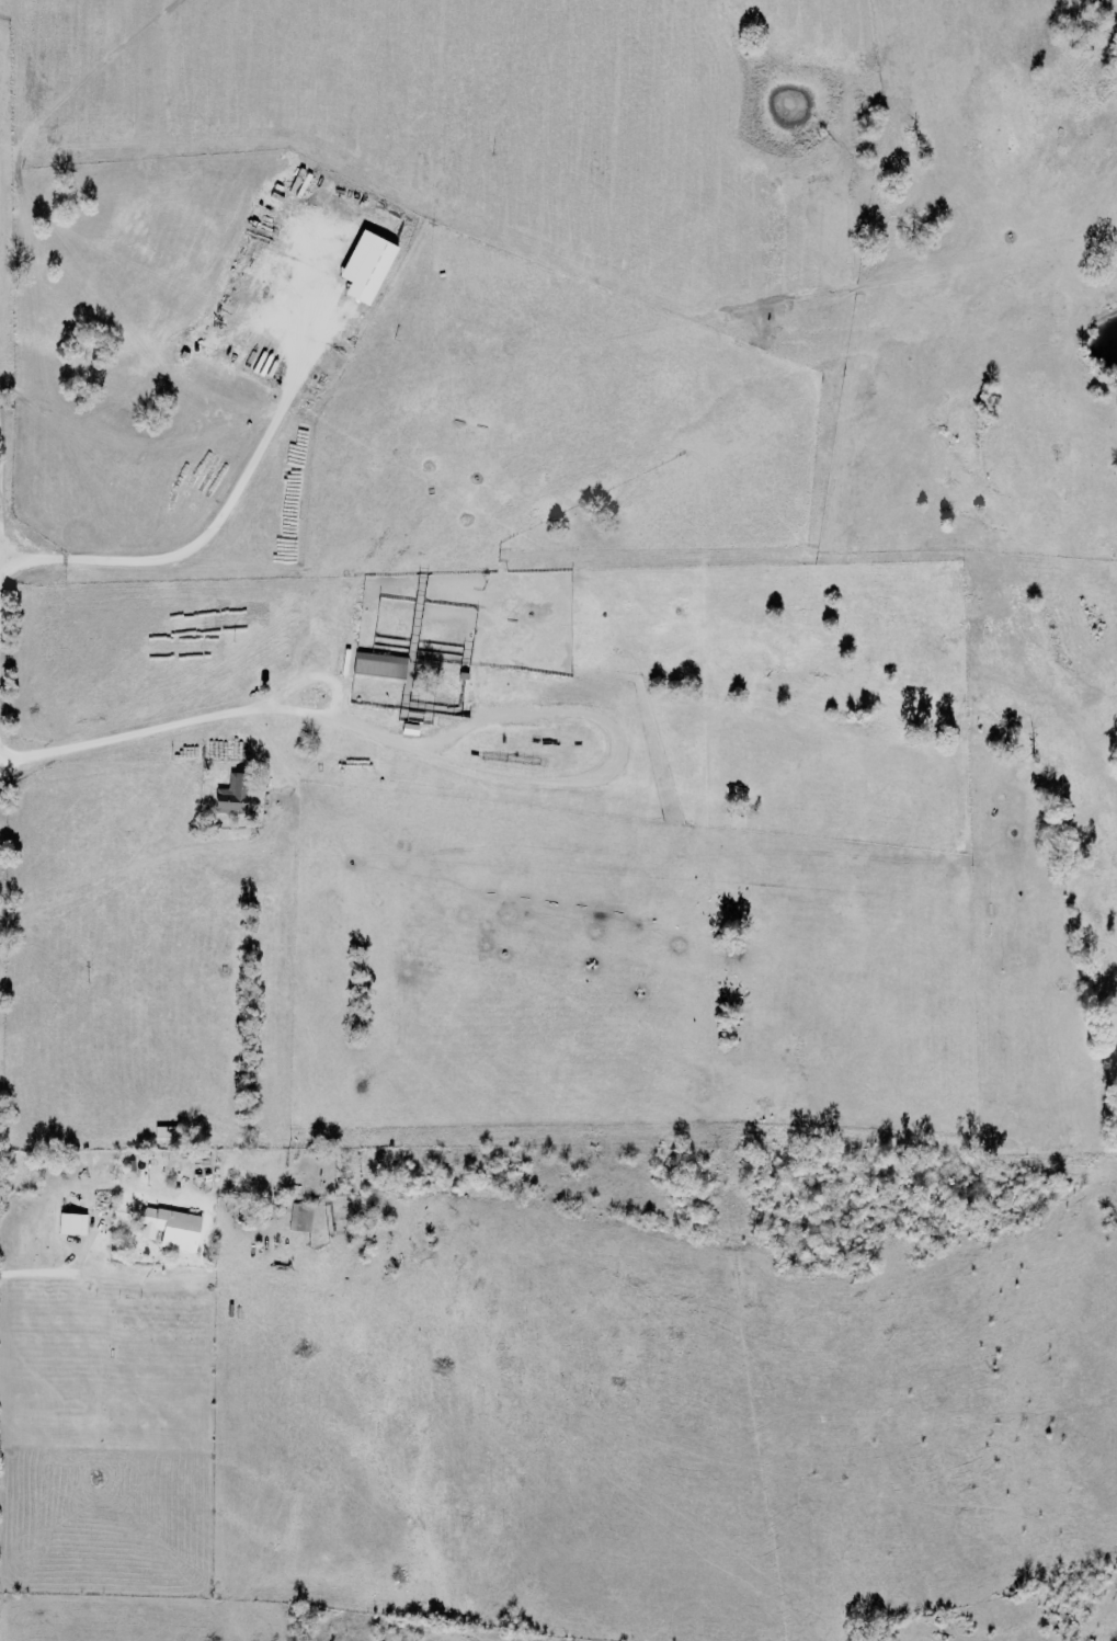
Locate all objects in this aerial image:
building: (372, 267)
building: (383, 668)
building: (235, 796)
building: (303, 1218)
building: (76, 1226)
building: (174, 1229)

